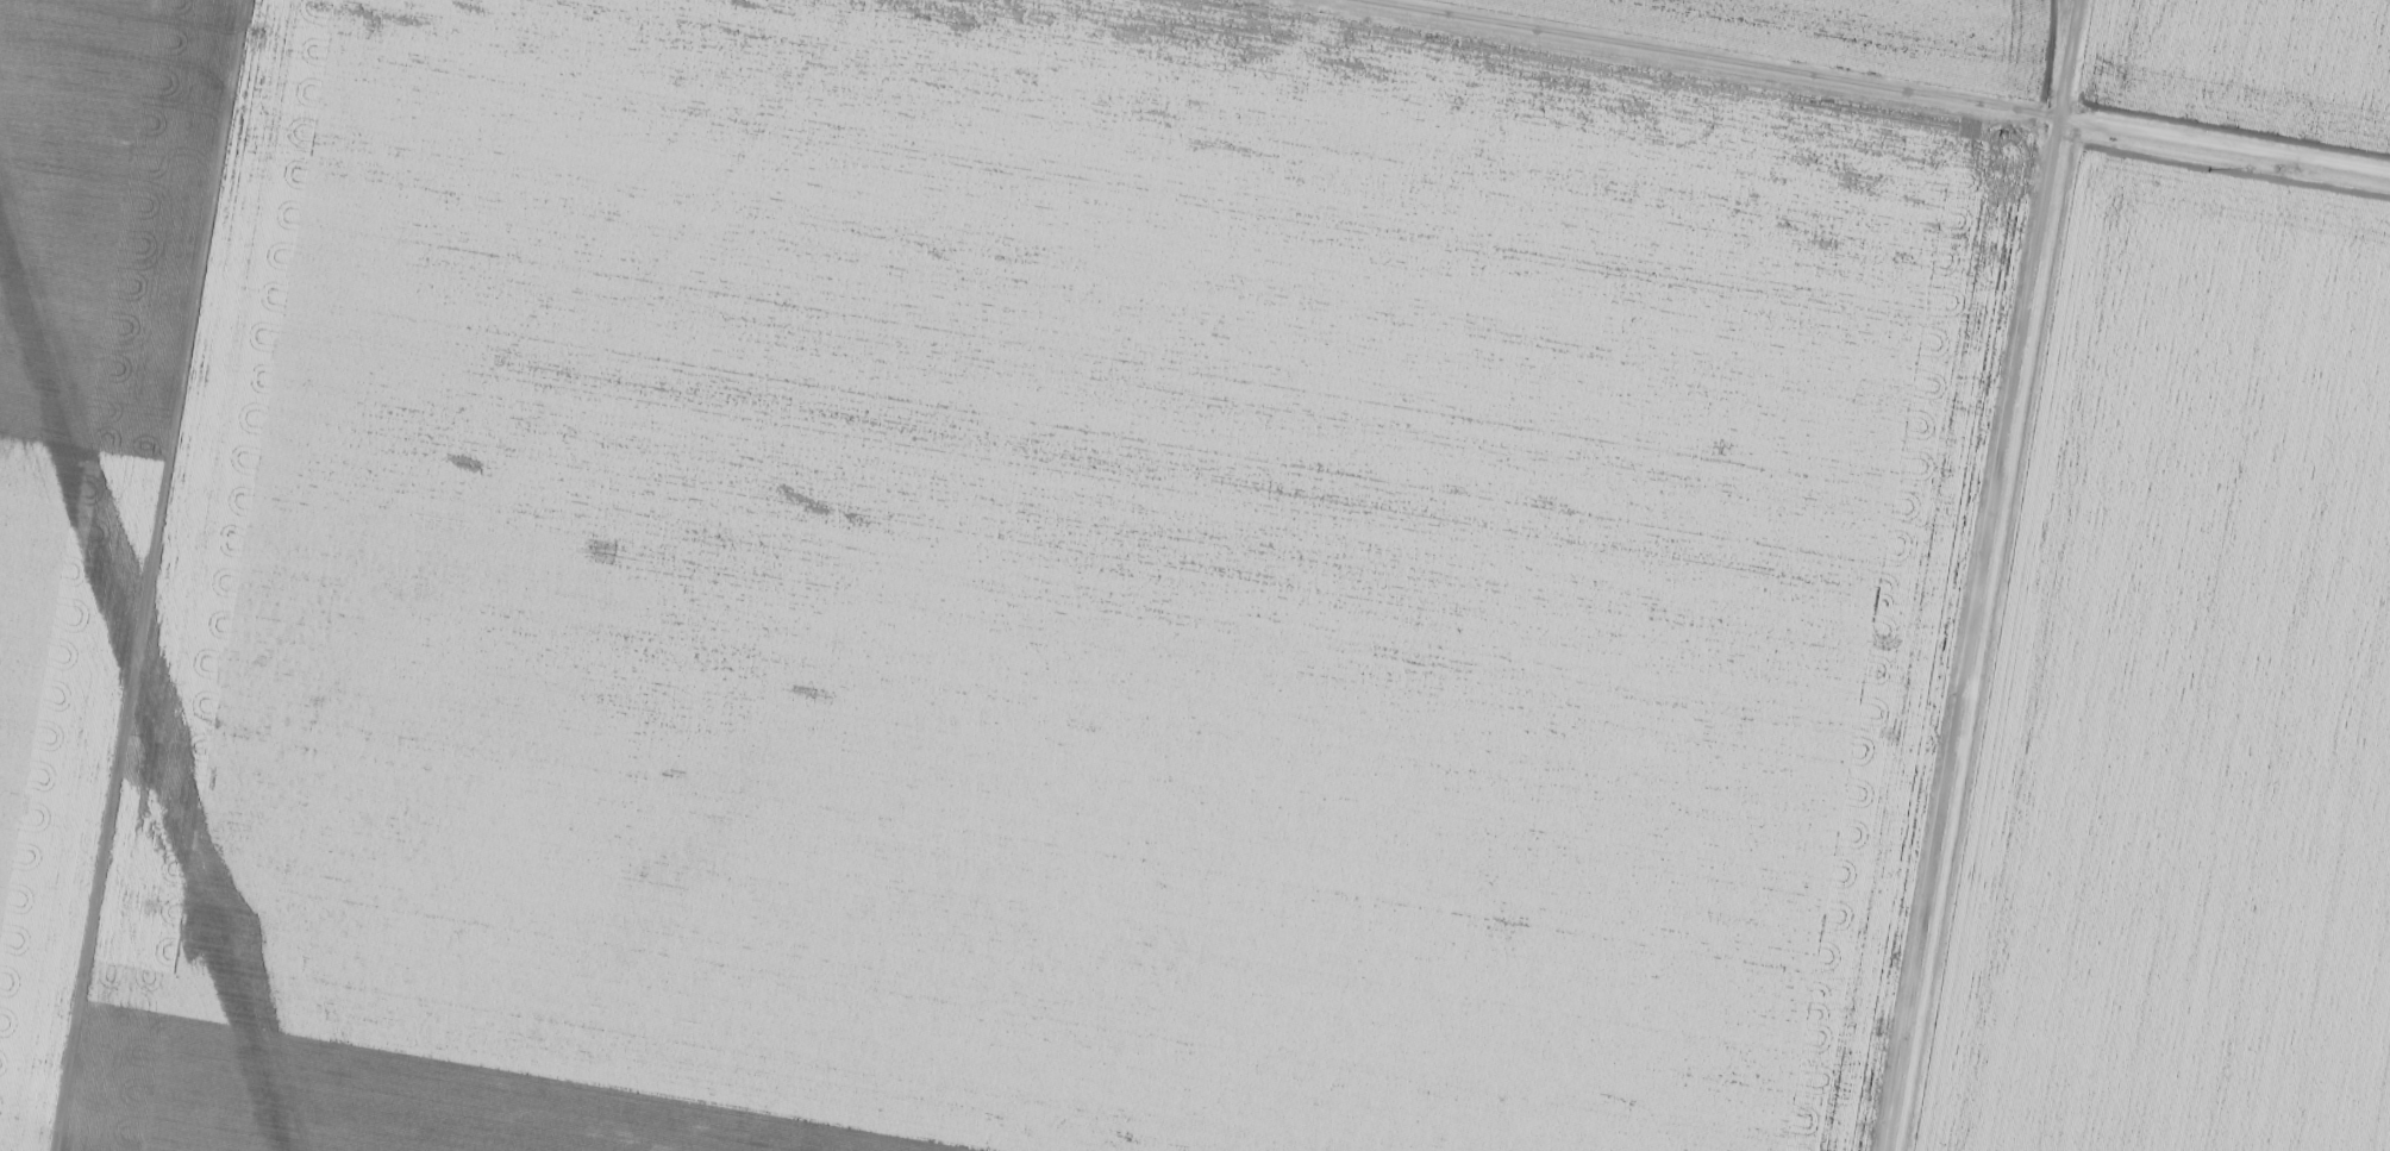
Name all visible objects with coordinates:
road: (1862, 88)
road: (1985, 575)

